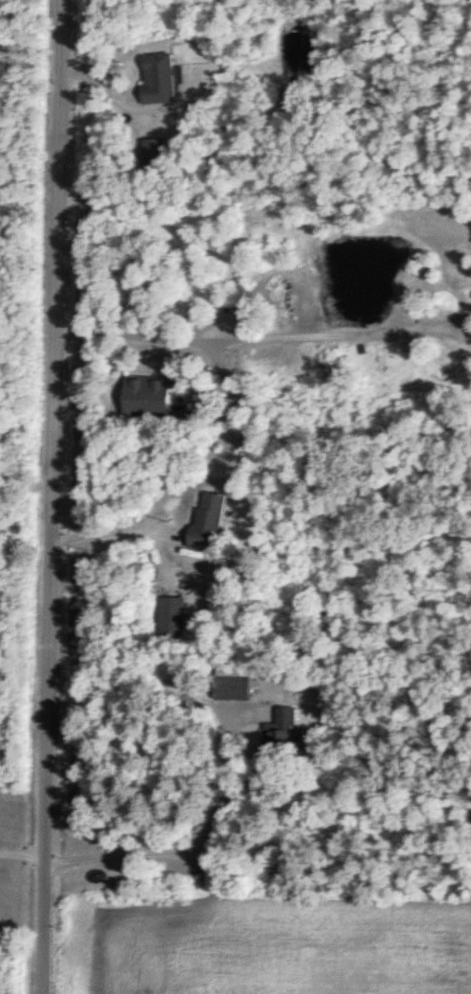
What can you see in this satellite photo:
building: (151, 76)
building: (141, 395)
road: (45, 496)
building: (198, 520)
road: (107, 532)
building: (167, 615)
building: (280, 718)
road: (188, 842)
road: (20, 853)

